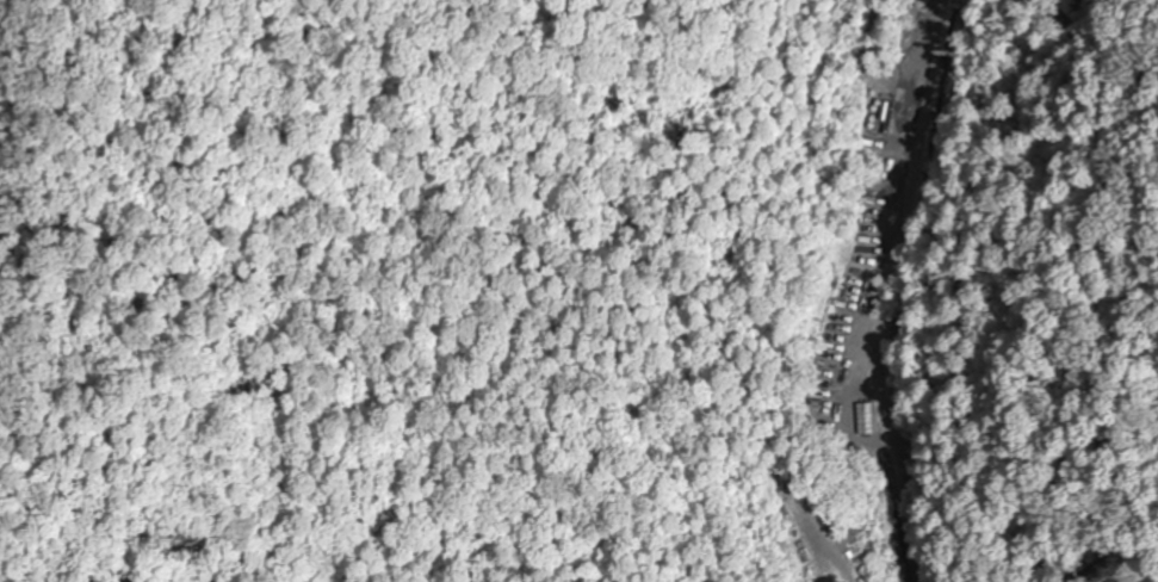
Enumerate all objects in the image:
building: (856, 279)

